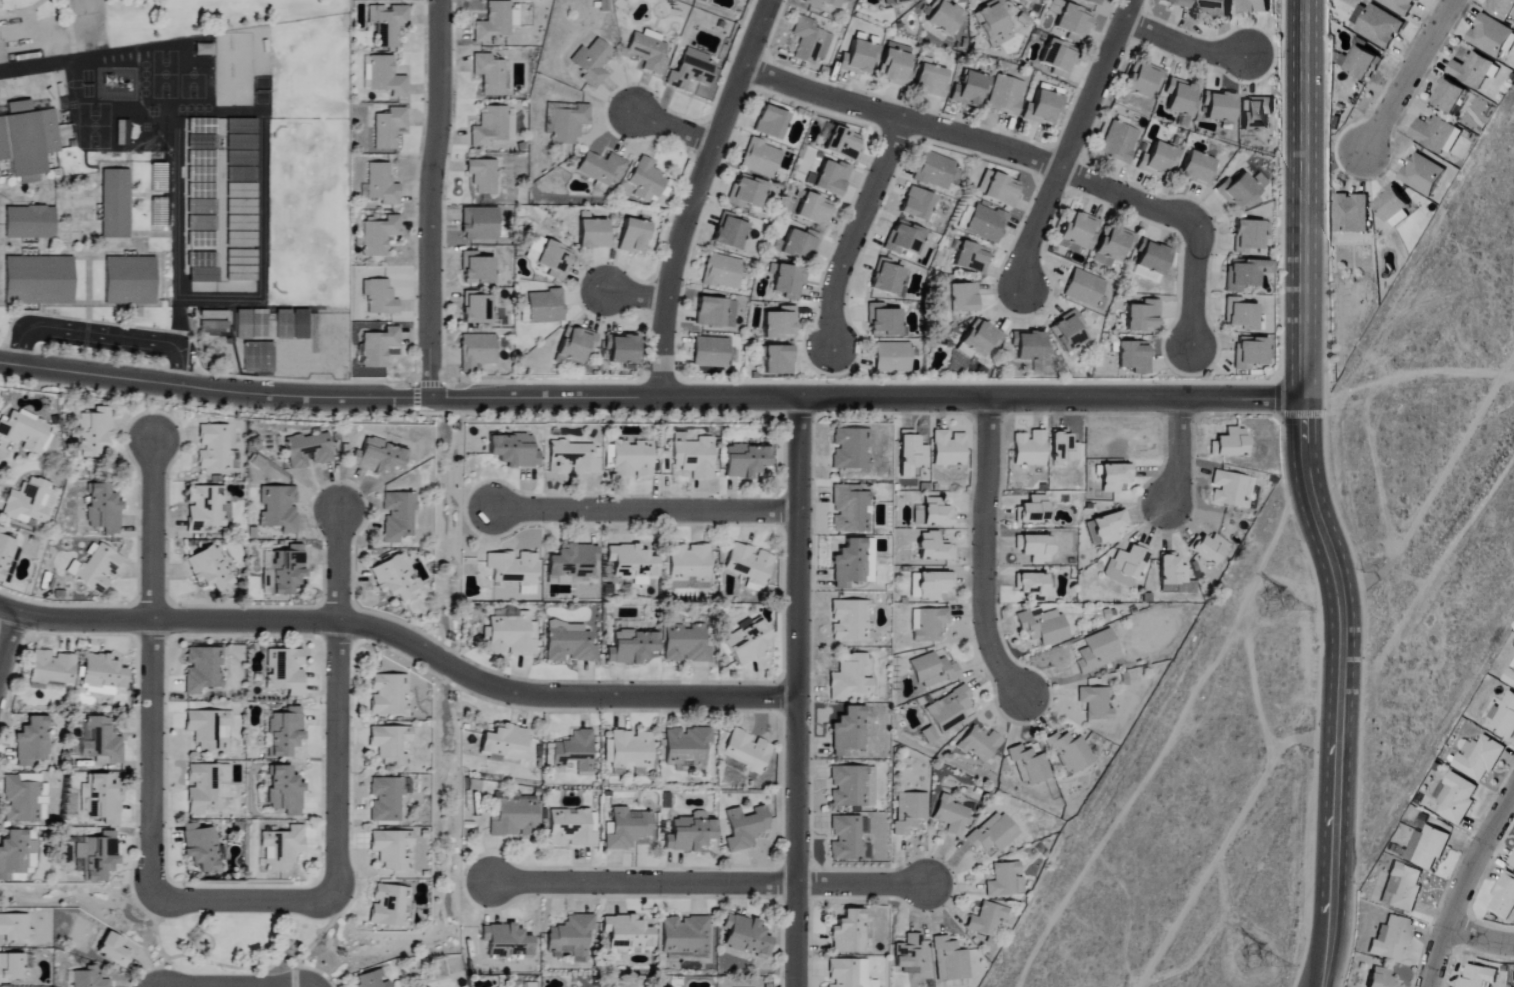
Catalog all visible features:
building: (848, 0)
building: (897, 1)
building: (1029, 1)
building: (1091, 1)
building: (1178, 2)
building: (824, 3)
building: (1399, 5)
building: (1258, 6)
building: (1218, 7)
building: (1503, 8)
road: (25, 11)
building: (943, 16)
park: (133, 21)
building: (495, 21)
building: (1074, 22)
building: (387, 23)
building: (993, 24)
building: (1378, 24)
road: (71, 31)
building: (1493, 36)
building: (809, 41)
road: (1181, 45)
building: (648, 53)
building: (858, 58)
building: (1059, 58)
building: (1364, 61)
building: (592, 62)
building: (895, 64)
road: (38, 68)
building: (1475, 69)
building: (690, 73)
building: (490, 74)
building: (386, 76)
road: (1408, 77)
building: (1143, 79)
building: (930, 80)
building: (972, 87)
building: (1004, 95)
building: (1452, 95)
building: (1181, 99)
building: (1220, 108)
building: (1042, 109)
building: (1255, 114)
building: (771, 122)
building: (566, 123)
building: (490, 127)
road: (671, 127)
building: (388, 128)
building: (1438, 134)
building: (27, 139)
road: (971, 139)
building: (1119, 142)
building: (843, 143)
road: (1069, 144)
building: (761, 158)
building: (1158, 160)
building: (1198, 168)
building: (602, 169)
building: (935, 171)
building: (1423, 174)
building: (483, 175)
building: (832, 177)
building: (646, 180)
building: (381, 184)
building: (998, 188)
building: (1240, 189)
building: (747, 191)
road: (695, 194)
road: (431, 199)
building: (115, 203)
building: (917, 203)
building: (1395, 205)
building: (815, 209)
building: (1352, 213)
building: (29, 222)
building: (480, 223)
building: (986, 223)
building: (1080, 230)
building: (730, 232)
road: (855, 232)
building: (593, 234)
road: (175, 235)
building: (379, 235)
building: (1248, 235)
building: (634, 236)
building: (907, 239)
building: (799, 245)
building: (1113, 245)
road: (260, 253)
building: (1153, 256)
building: (972, 257)
building: (555, 260)
building: (478, 267)
building: (204, 269)
building: (721, 271)
building: (1245, 273)
building: (887, 278)
building: (39, 280)
building: (129, 280)
building: (786, 280)
road: (1195, 285)
building: (1084, 288)
road: (632, 294)
building: (379, 297)
building: (963, 297)
building: (545, 306)
building: (476, 308)
building: (715, 312)
building: (1241, 315)
building: (1144, 316)
building: (885, 322)
building: (780, 323)
building: (251, 324)
building: (283, 324)
building: (300, 324)
building: (1068, 331)
road: (103, 335)
building: (981, 337)
building: (576, 344)
building: (1029, 345)
building: (379, 347)
building: (622, 348)
building: (476, 351)
building: (710, 352)
building: (1250, 352)
road: (194, 356)
building: (892, 357)
building: (1134, 357)
building: (778, 360)
road: (411, 380)
road: (213, 390)
road: (865, 398)
road: (204, 404)
building: (93, 431)
building: (23, 433)
building: (1231, 443)
building: (213, 447)
building: (1064, 447)
building: (949, 448)
building: (1030, 448)
building: (851, 449)
building: (513, 450)
building: (307, 451)
road: (1177, 453)
building: (911, 454)
building: (377, 457)
building: (694, 457)
building: (573, 458)
building: (631, 459)
building: (746, 461)
building: (1229, 489)
road: (1310, 495)
building: (27, 502)
building: (206, 508)
building: (278, 508)
building: (103, 509)
road: (643, 509)
building: (849, 509)
building: (1033, 511)
building: (937, 513)
building: (397, 516)
building: (1106, 528)
building: (935, 547)
building: (1035, 548)
building: (1210, 549)
road: (982, 550)
building: (5, 553)
building: (632, 562)
building: (571, 563)
building: (853, 563)
building: (750, 564)
building: (1127, 565)
building: (689, 566)
building: (95, 569)
building: (209, 569)
building: (285, 569)
building: (514, 570)
building: (1173, 574)
building: (395, 577)
building: (1031, 584)
building: (934, 585)
power tower: (1279, 592)
building: (849, 620)
building: (929, 624)
building: (1043, 626)
building: (511, 635)
road: (402, 639)
road: (7, 640)
building: (748, 643)
building: (686, 644)
building: (569, 646)
building: (631, 647)
building: (1098, 651)
building: (52, 667)
road: (150, 667)
building: (934, 668)
building: (202, 670)
building: (285, 671)
building: (102, 675)
building: (1510, 676)
building: (849, 677)
road: (797, 692)
building: (387, 695)
building: (1096, 703)
building: (951, 709)
building: (1504, 717)
road: (1343, 728)
building: (210, 729)
building: (849, 731)
building: (285, 732)
building: (930, 735)
building: (101, 741)
building: (31, 742)
building: (504, 743)
building: (390, 744)
building: (980, 744)
building: (687, 746)
building: (628, 749)
building: (746, 750)
building: (1071, 751)
building: (574, 752)
building: (1479, 758)
building: (1030, 766)
building: (204, 786)
road: (336, 786)
building: (848, 786)
building: (285, 792)
building: (105, 799)
building: (385, 799)
building: (1457, 799)
building: (23, 800)
building: (90, 808)
building: (909, 812)
building: (951, 815)
building: (512, 816)
building: (572, 828)
building: (744, 828)
building: (626, 829)
building: (689, 833)
building: (992, 834)
building: (846, 839)
building: (201, 847)
building: (1427, 847)
building: (282, 848)
building: (391, 849)
building: (15, 855)
building: (97, 856)
building: (1512, 861)
building: (30, 863)
building: (1003, 880)
road: (1462, 882)
road: (708, 883)
building: (1019, 886)
building: (1402, 888)
building: (1504, 897)
building: (389, 906)
building: (986, 920)
building: (13, 927)
building: (627, 933)
building: (849, 933)
building: (685, 936)
building: (746, 936)
road: (1479, 936)
building: (571, 937)
building: (1391, 939)
building: (506, 941)
building: (113, 950)
building: (908, 954)
power tower: (1251, 959)
building: (950, 961)
building: (10, 968)
building: (862, 972)
building: (843, 973)
building: (1479, 977)
building: (86, 978)
building: (1381, 978)
building: (372, 979)
road: (227, 986)

